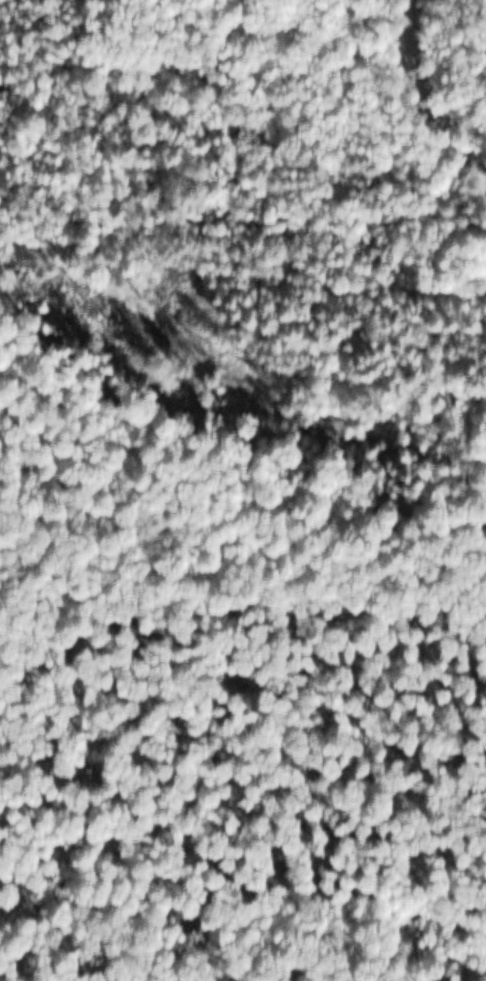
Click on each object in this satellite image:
road: (237, 282)

